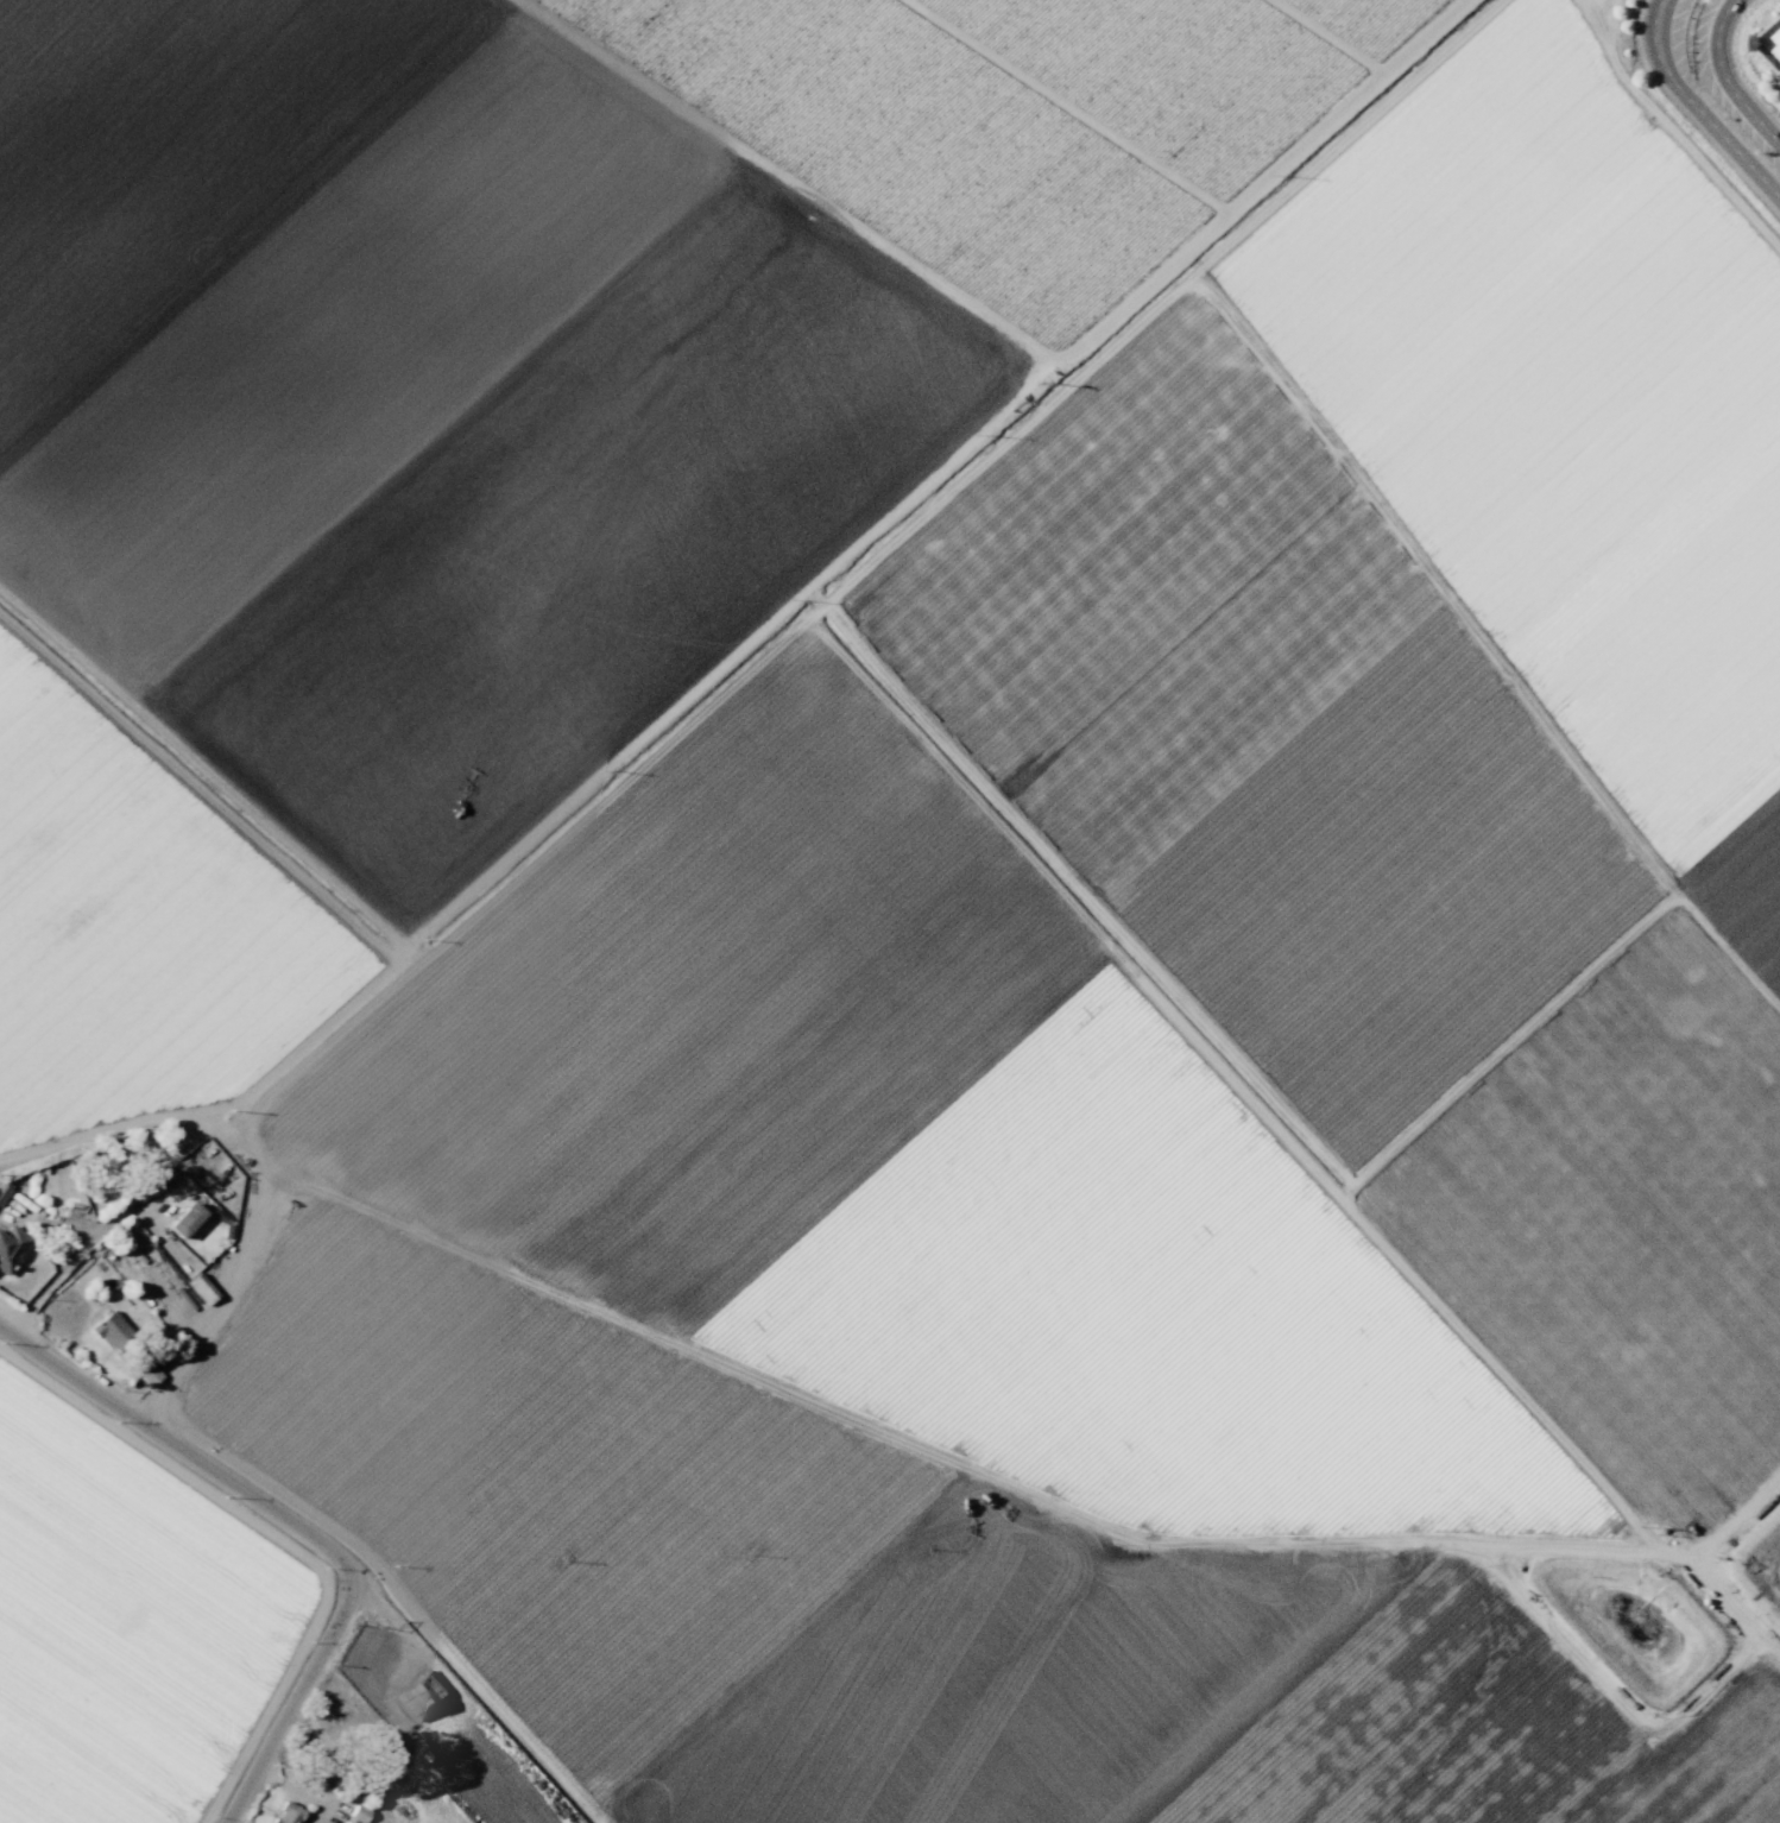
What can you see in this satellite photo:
building: (1770, 39)
road: (1723, 78)
road: (1696, 107)
road: (1671, 134)
road: (776, 639)
crop: (883, 917)
road: (255, 1153)
building: (2, 1192)
building: (185, 1219)
building: (11, 1248)
road: (75, 1250)
building: (201, 1288)
building: (112, 1331)
building: (150, 1375)
road: (890, 1434)
road: (293, 1533)
wastewater plant: (1761, 1559)
wastewater plant: (1631, 1627)
building: (422, 1696)
road: (460, 1705)
building: (288, 1813)
building: (359, 1813)
building: (347, 1822)

